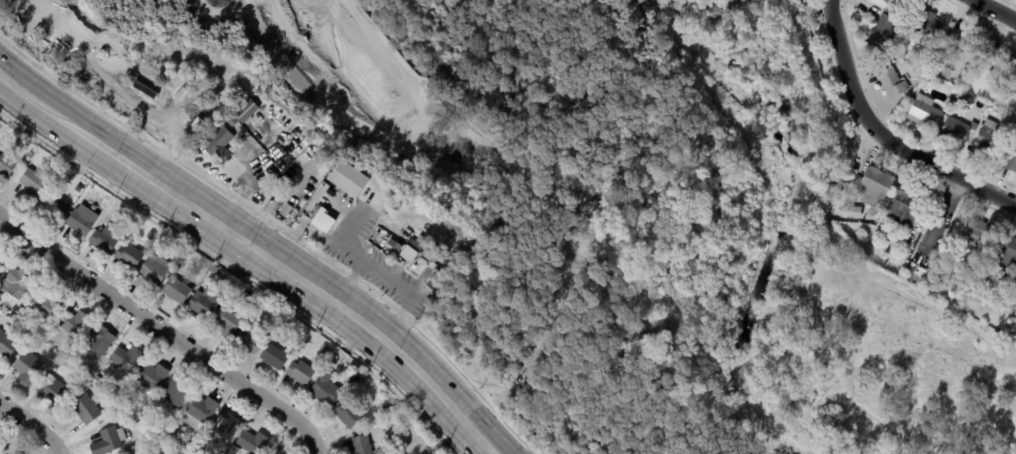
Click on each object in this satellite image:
building: (792, 1)
building: (890, 2)
road: (995, 10)
building: (927, 27)
building: (883, 32)
building: (963, 44)
building: (996, 61)
road: (13, 63)
building: (918, 67)
building: (1013, 73)
building: (918, 77)
building: (927, 81)
building: (892, 85)
building: (1012, 85)
building: (246, 113)
building: (924, 115)
building: (956, 134)
road: (883, 136)
building: (988, 141)
building: (218, 143)
building: (1011, 162)
building: (6, 165)
building: (350, 181)
building: (33, 182)
building: (875, 189)
building: (88, 194)
building: (53, 206)
building: (904, 208)
building: (851, 217)
building: (322, 220)
road: (939, 220)
building: (79, 221)
building: (977, 234)
building: (150, 236)
building: (104, 238)
building: (160, 241)
road: (282, 249)
building: (413, 250)
building: (461, 250)
building: (1006, 250)
road: (350, 251)
building: (128, 256)
building: (2, 260)
road: (247, 260)
building: (213, 268)
building: (153, 271)
building: (1000, 271)
building: (18, 282)
building: (437, 282)
building: (1006, 286)
building: (176, 289)
road: (405, 289)
building: (204, 302)
building: (44, 303)
building: (230, 303)
building: (71, 322)
building: (227, 322)
building: (283, 323)
building: (16, 329)
road: (163, 333)
building: (100, 338)
building: (250, 339)
building: (36, 340)
building: (6, 345)
building: (323, 348)
building: (275, 352)
building: (125, 358)
building: (27, 367)
building: (300, 371)
building: (77, 373)
building: (151, 374)
building: (99, 380)
building: (85, 386)
building: (50, 388)
building: (325, 389)
building: (177, 390)
building: (84, 409)
building: (198, 411)
building: (348, 414)
building: (226, 424)
road: (33, 425)
building: (107, 440)
building: (252, 441)
building: (361, 444)
building: (187, 445)
building: (234, 449)
building: (182, 453)

